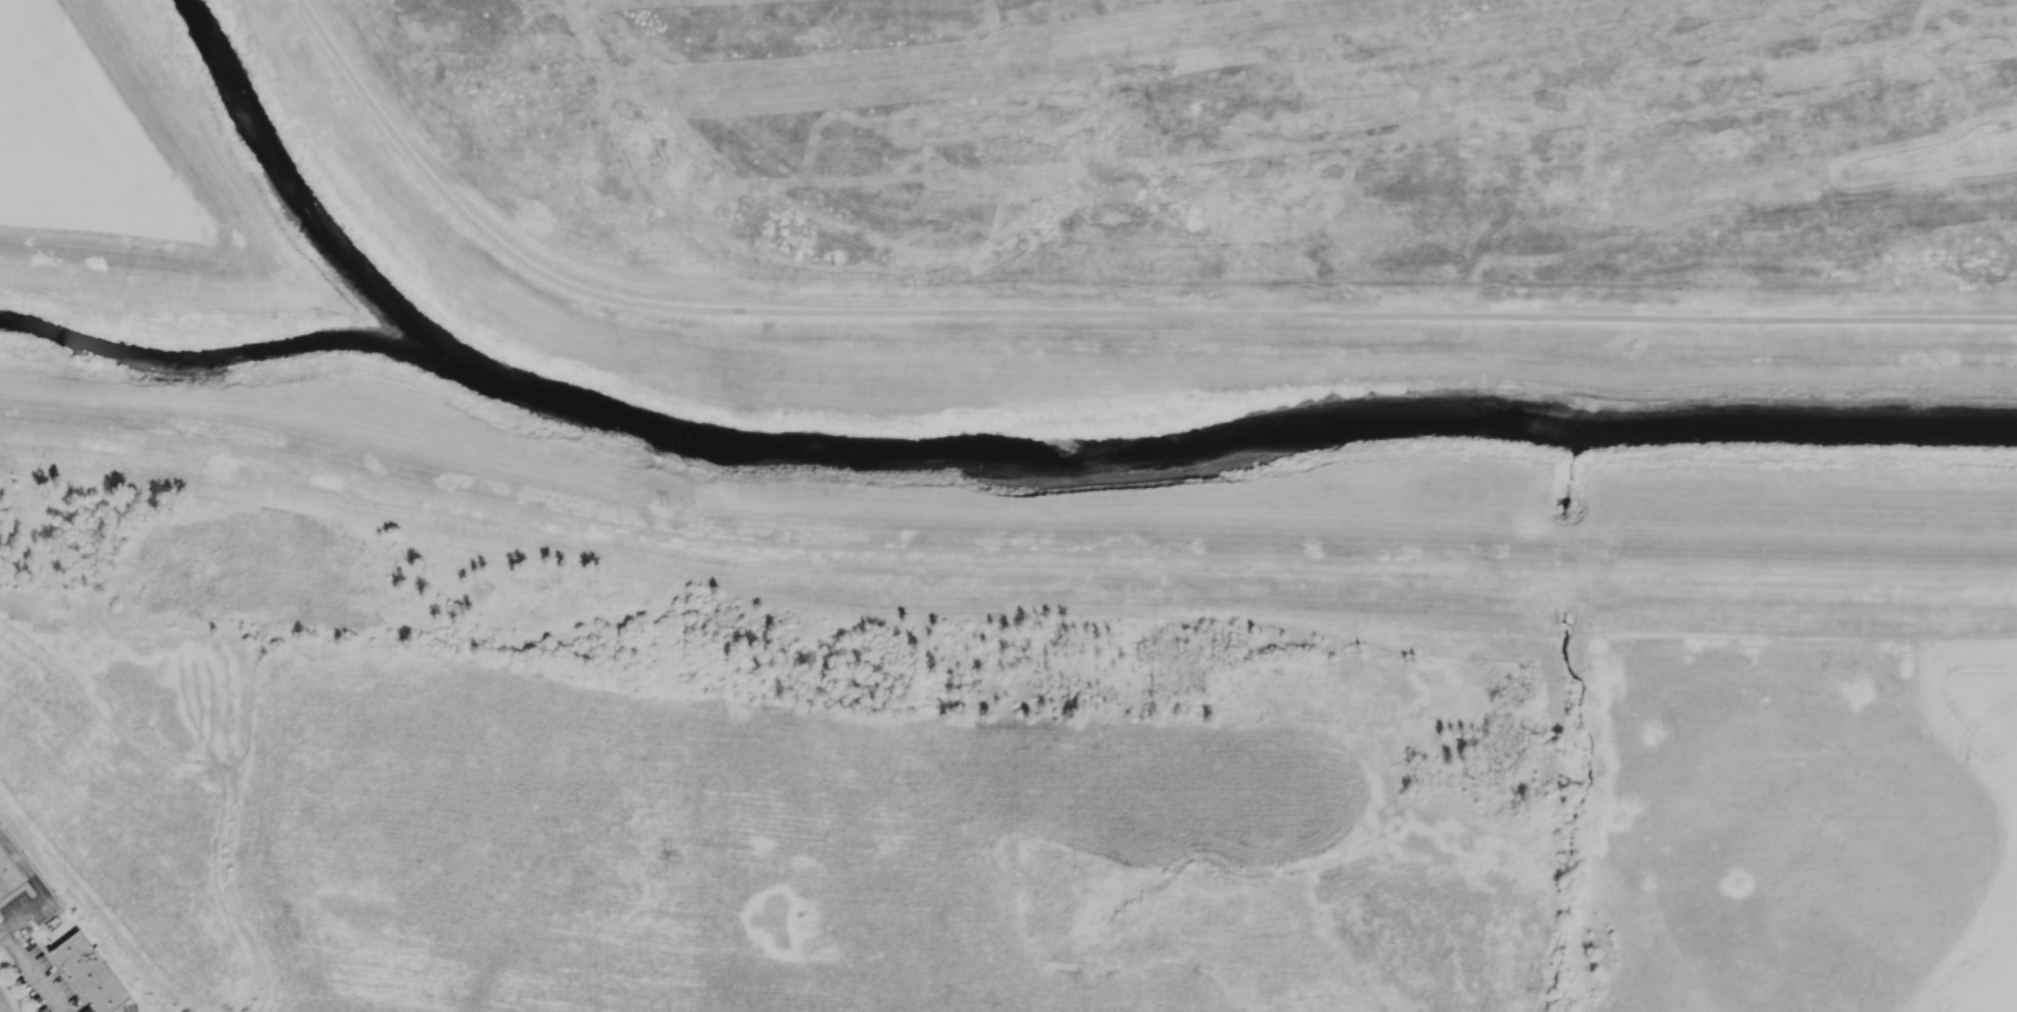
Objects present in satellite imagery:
road: (166, 134)
power tower: (667, 141)
river: (295, 190)
road: (1092, 313)
river: (218, 352)
river: (1793, 428)
road: (116, 434)
river: (997, 455)
power tower: (670, 504)
road: (1120, 555)
power tower: (676, 855)
building: (9, 876)
building: (87, 973)
road: (30, 976)
road: (10, 994)
road: (1, 1009)
building: (85, 1010)

